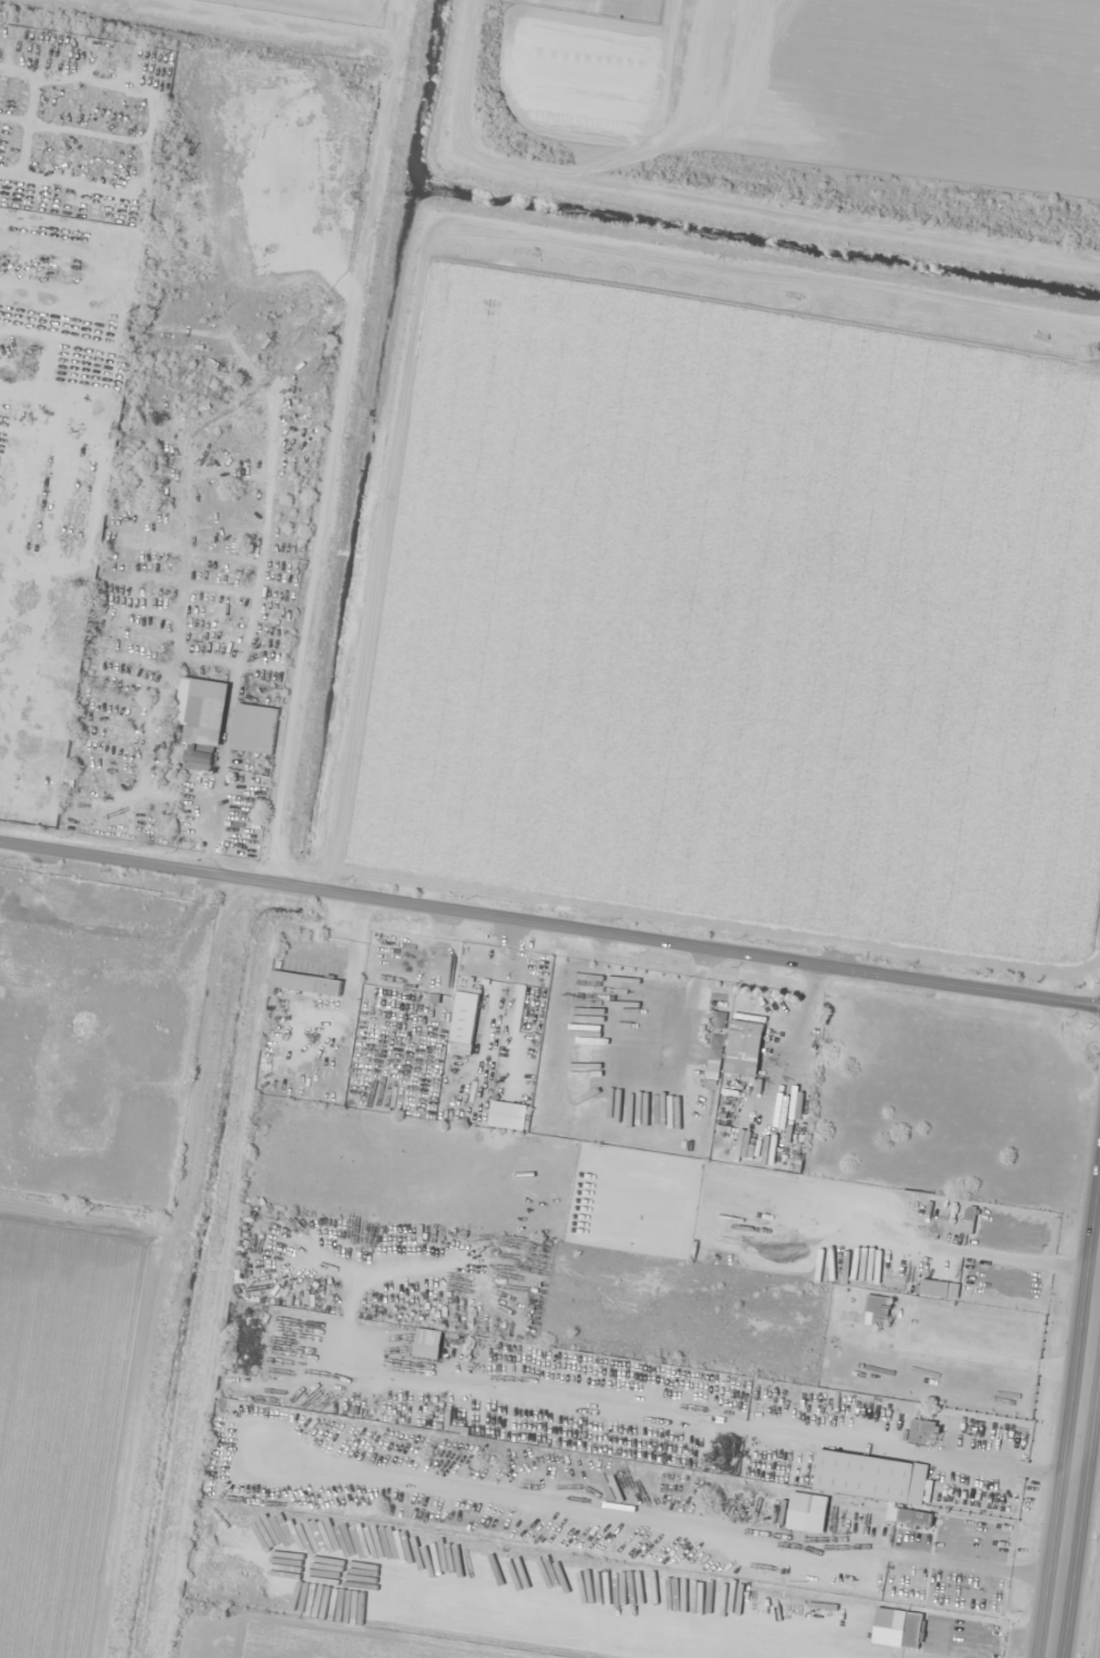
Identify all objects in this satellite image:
building: (202, 722)
building: (255, 728)
road: (549, 936)
building: (305, 983)
building: (464, 1015)
building: (718, 1020)
building: (745, 1049)
building: (714, 1060)
building: (788, 1158)
building: (967, 1220)
building: (879, 1309)
building: (427, 1344)
building: (922, 1433)
road: (1069, 1454)
building: (870, 1478)
building: (807, 1513)
building: (908, 1517)
building: (221, 1536)
building: (882, 1618)
building: (912, 1631)

